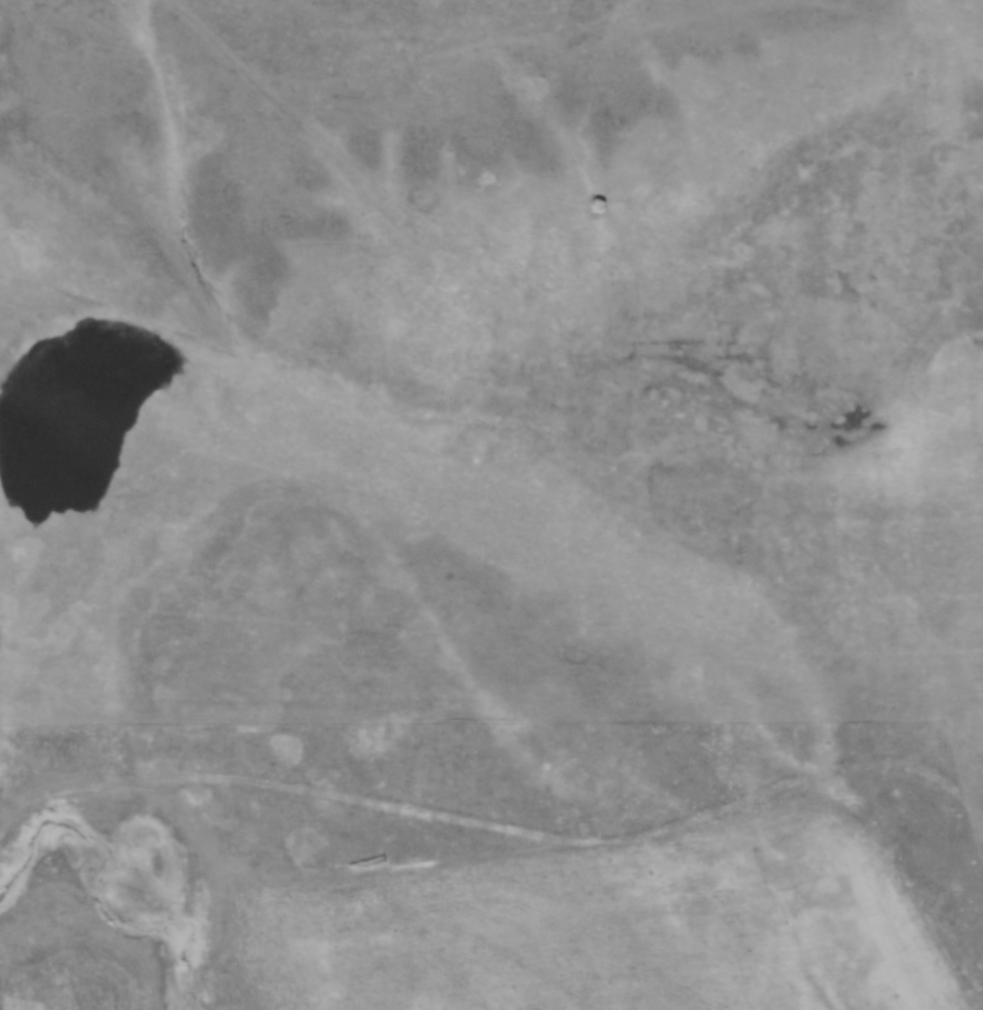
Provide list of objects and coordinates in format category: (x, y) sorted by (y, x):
road: (504, 825)

